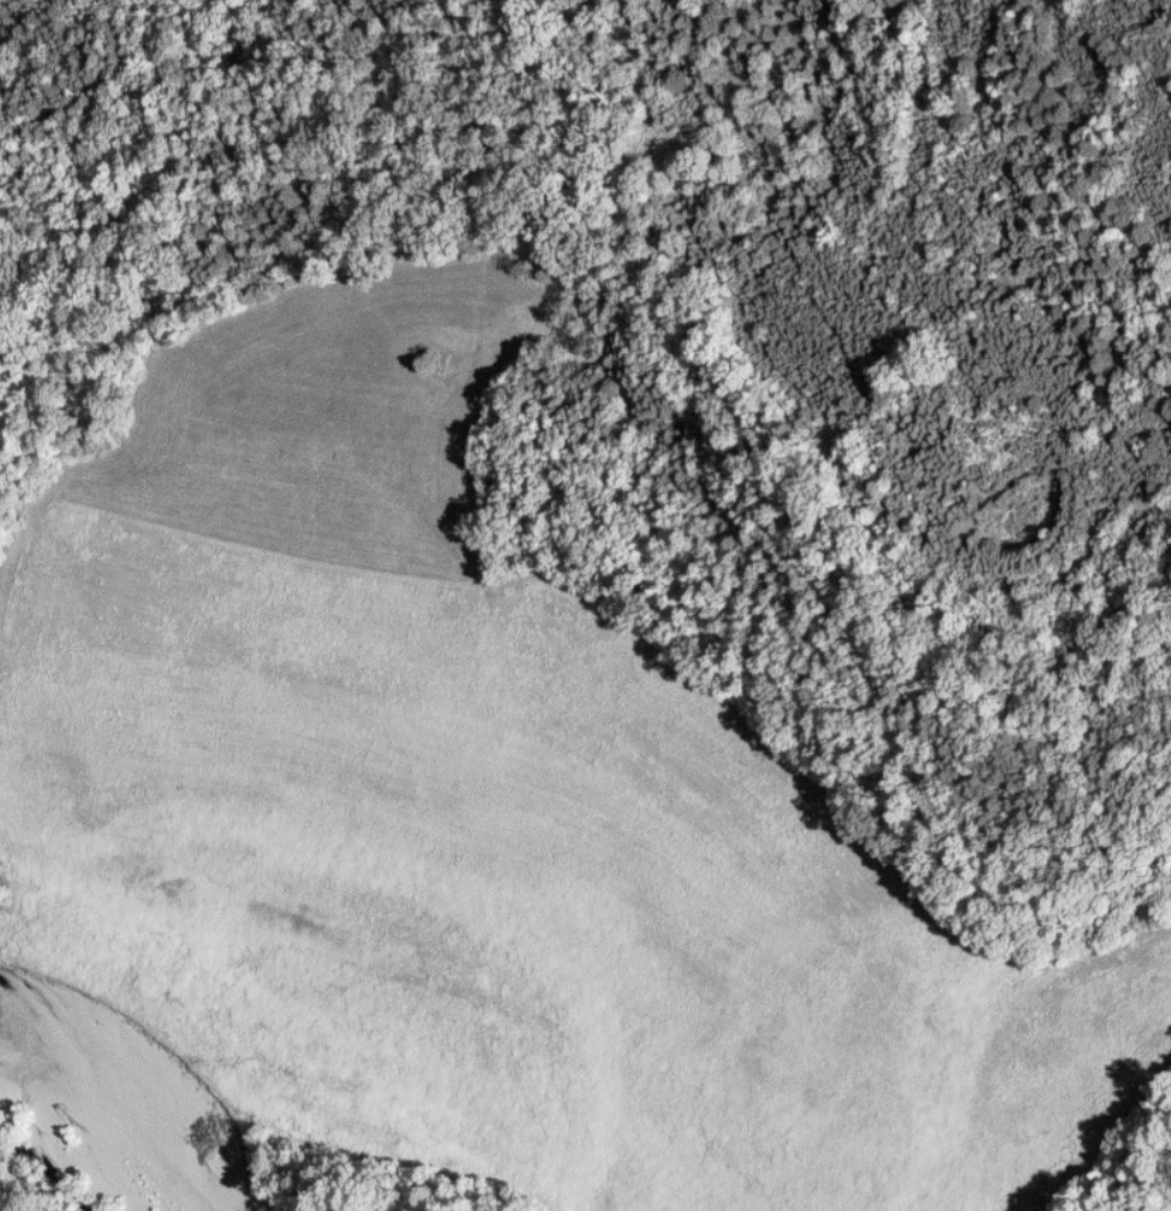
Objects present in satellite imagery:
road: (322, 267)
road: (1140, 1056)

